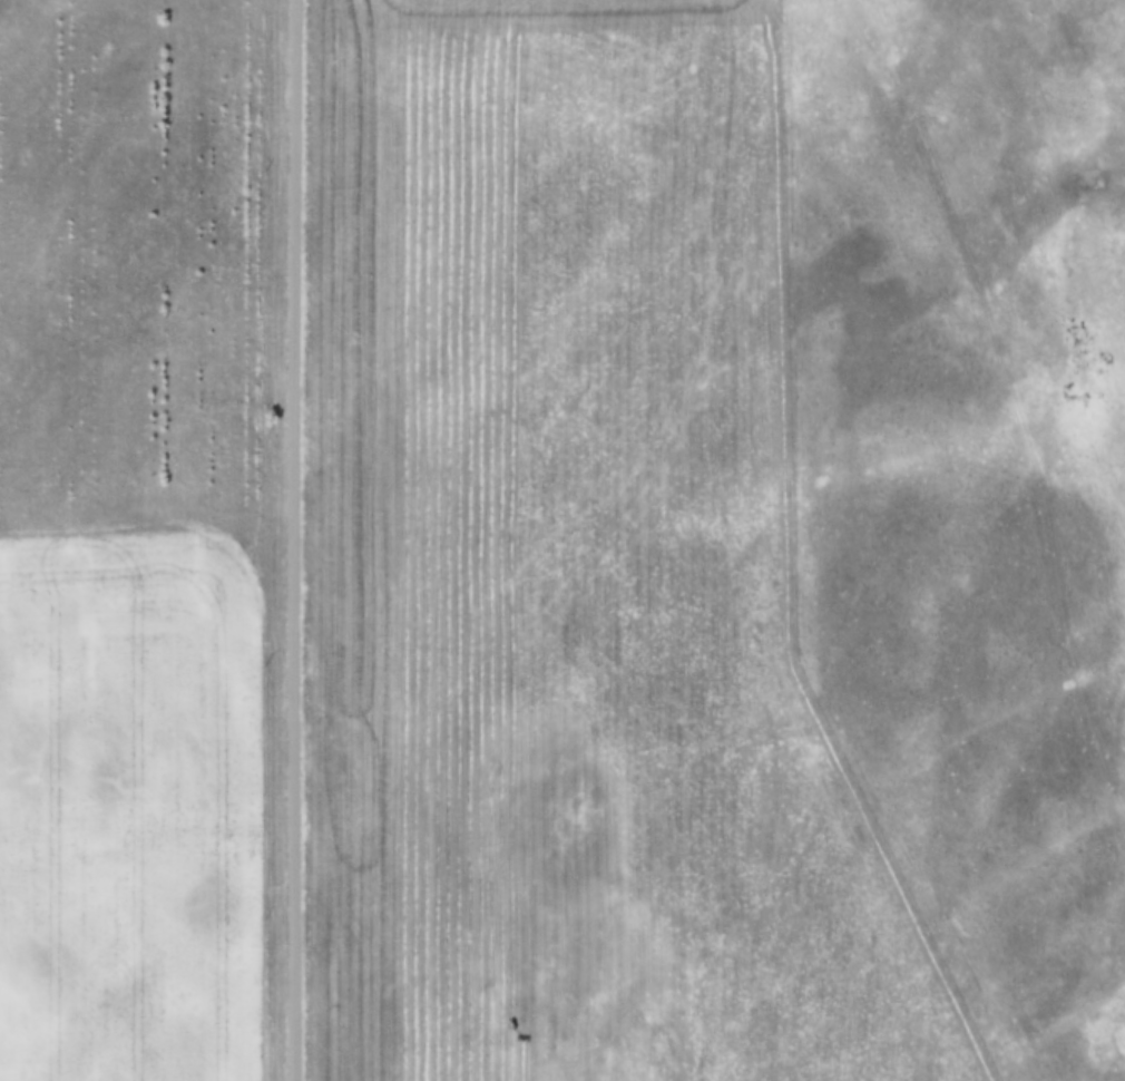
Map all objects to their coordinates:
road: (295, 539)

